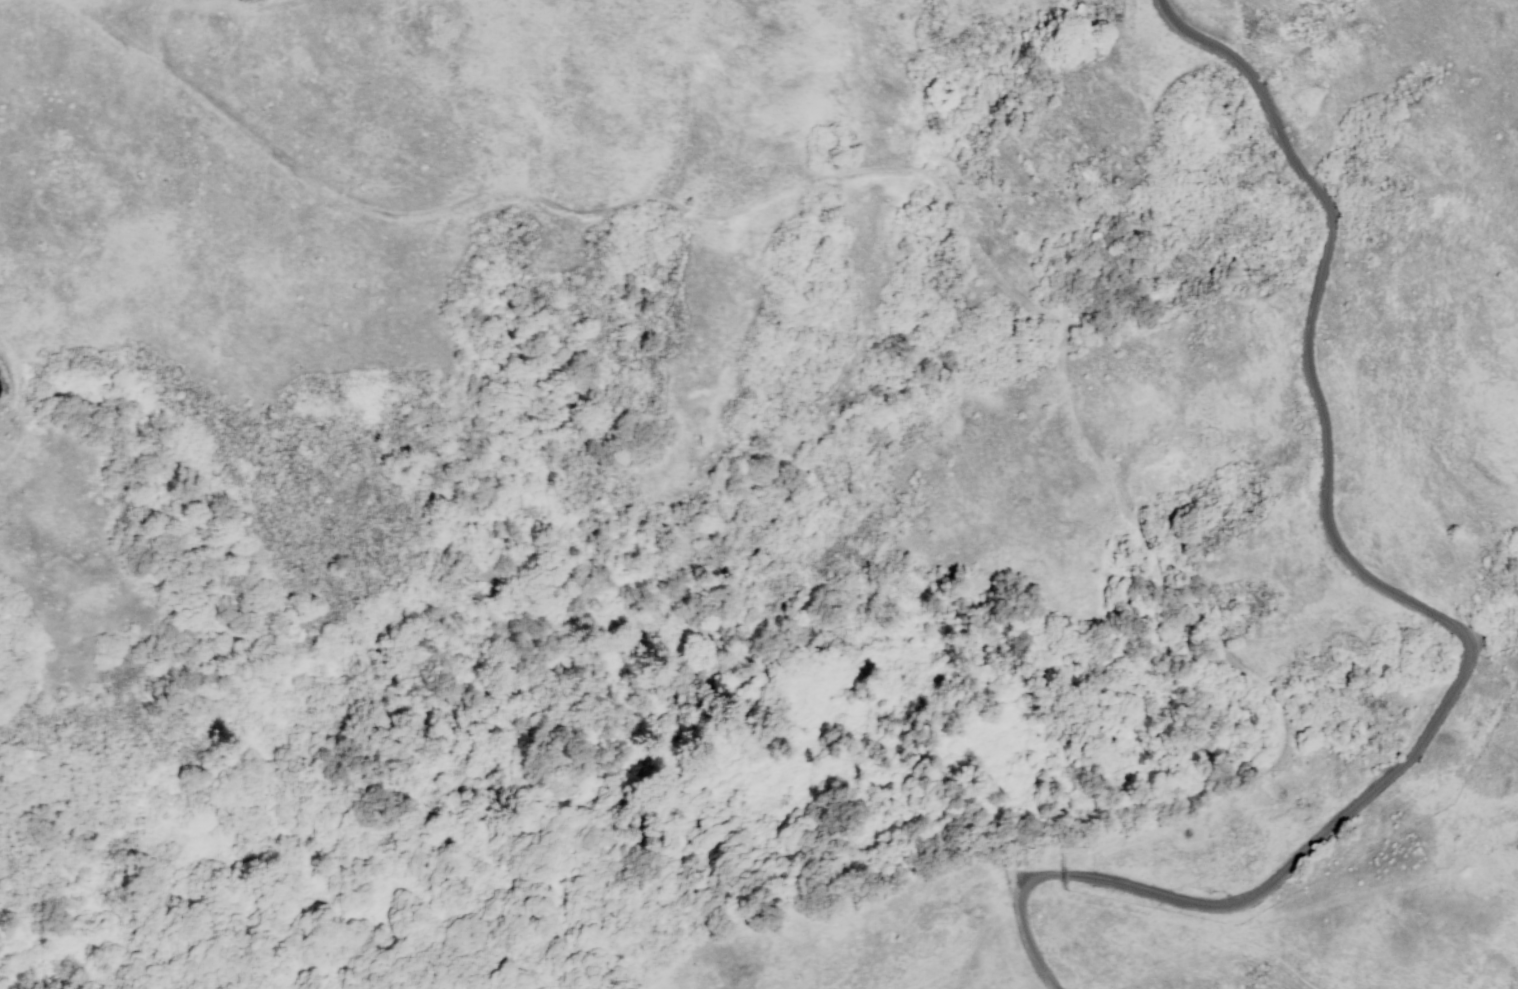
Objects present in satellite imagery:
road: (0, 0)
road: (201, 3)
road: (941, 194)
road: (17, 400)
road: (1428, 612)

